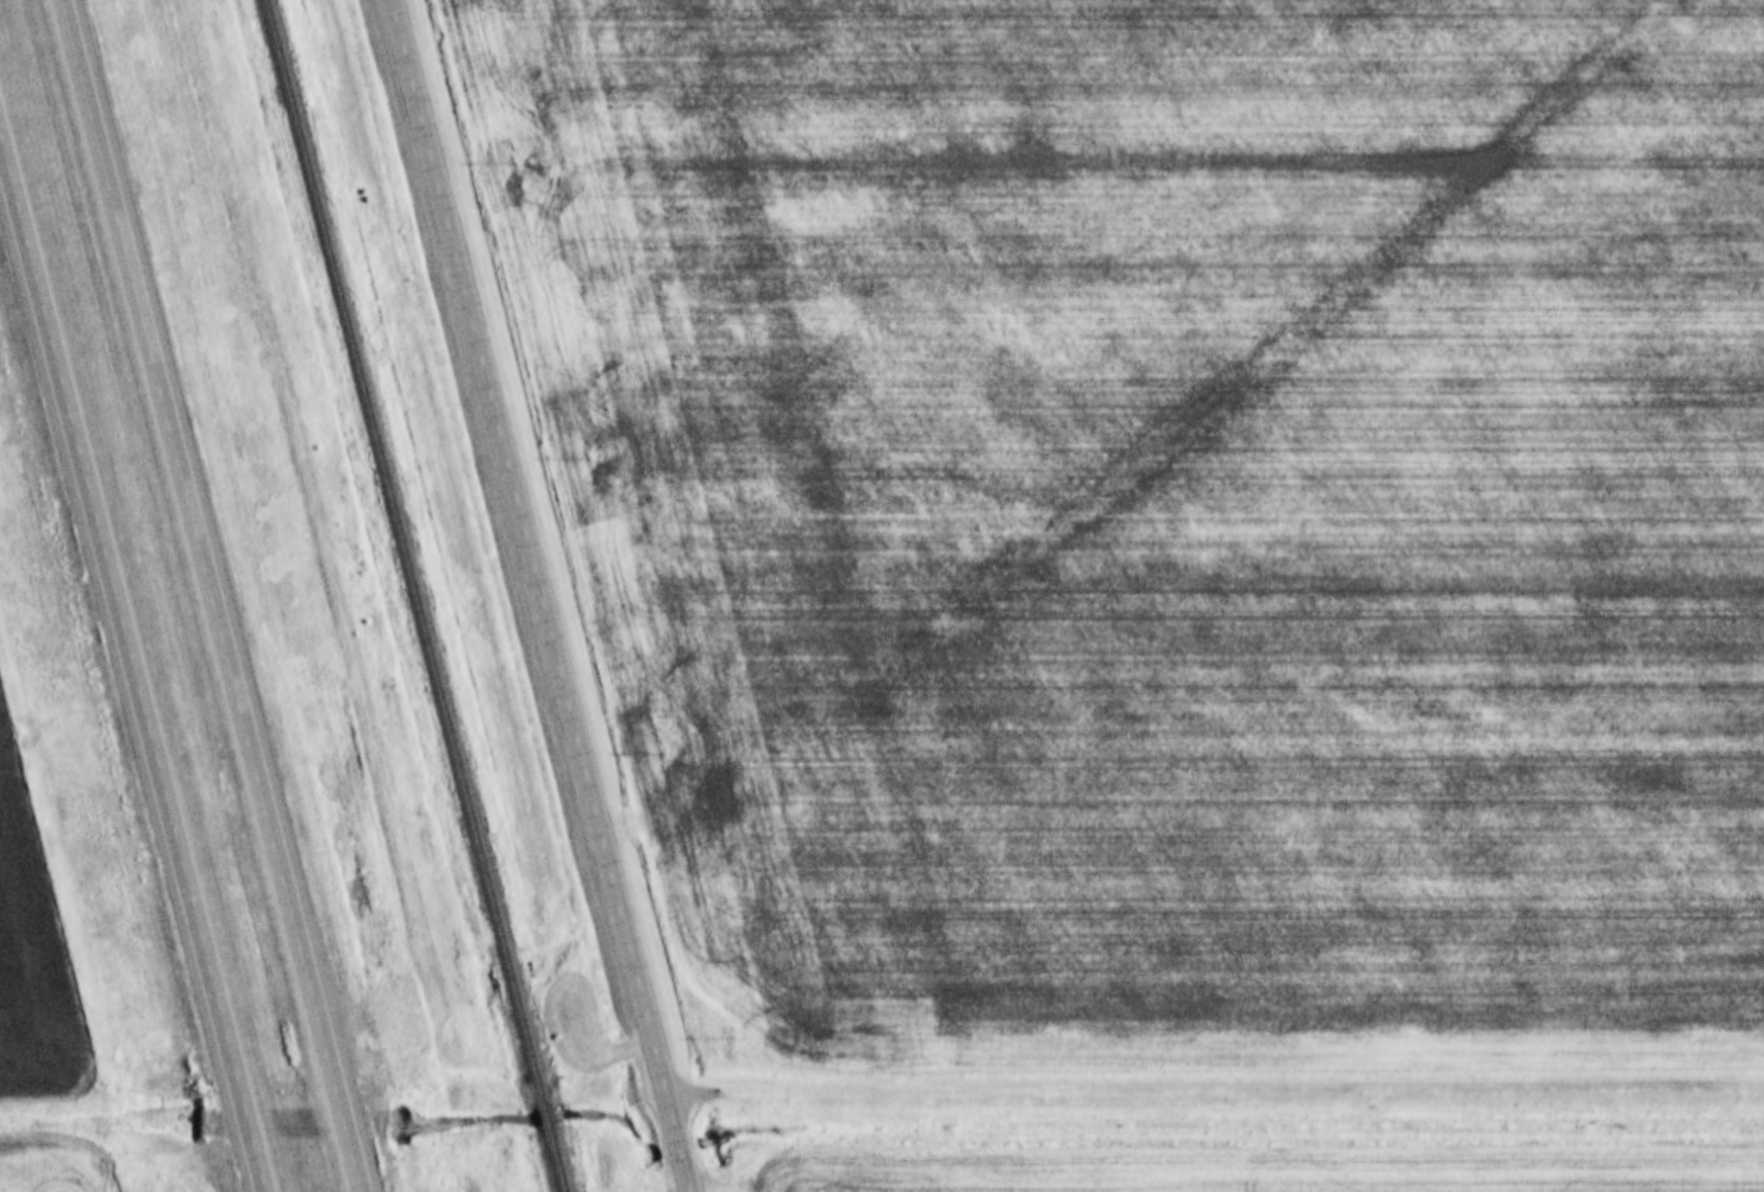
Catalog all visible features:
crop: (1169, 498)
railway: (401, 551)
road: (217, 595)
road: (543, 595)
road: (130, 669)
road: (1214, 1086)
railway: (542, 1113)
railway: (552, 1159)

